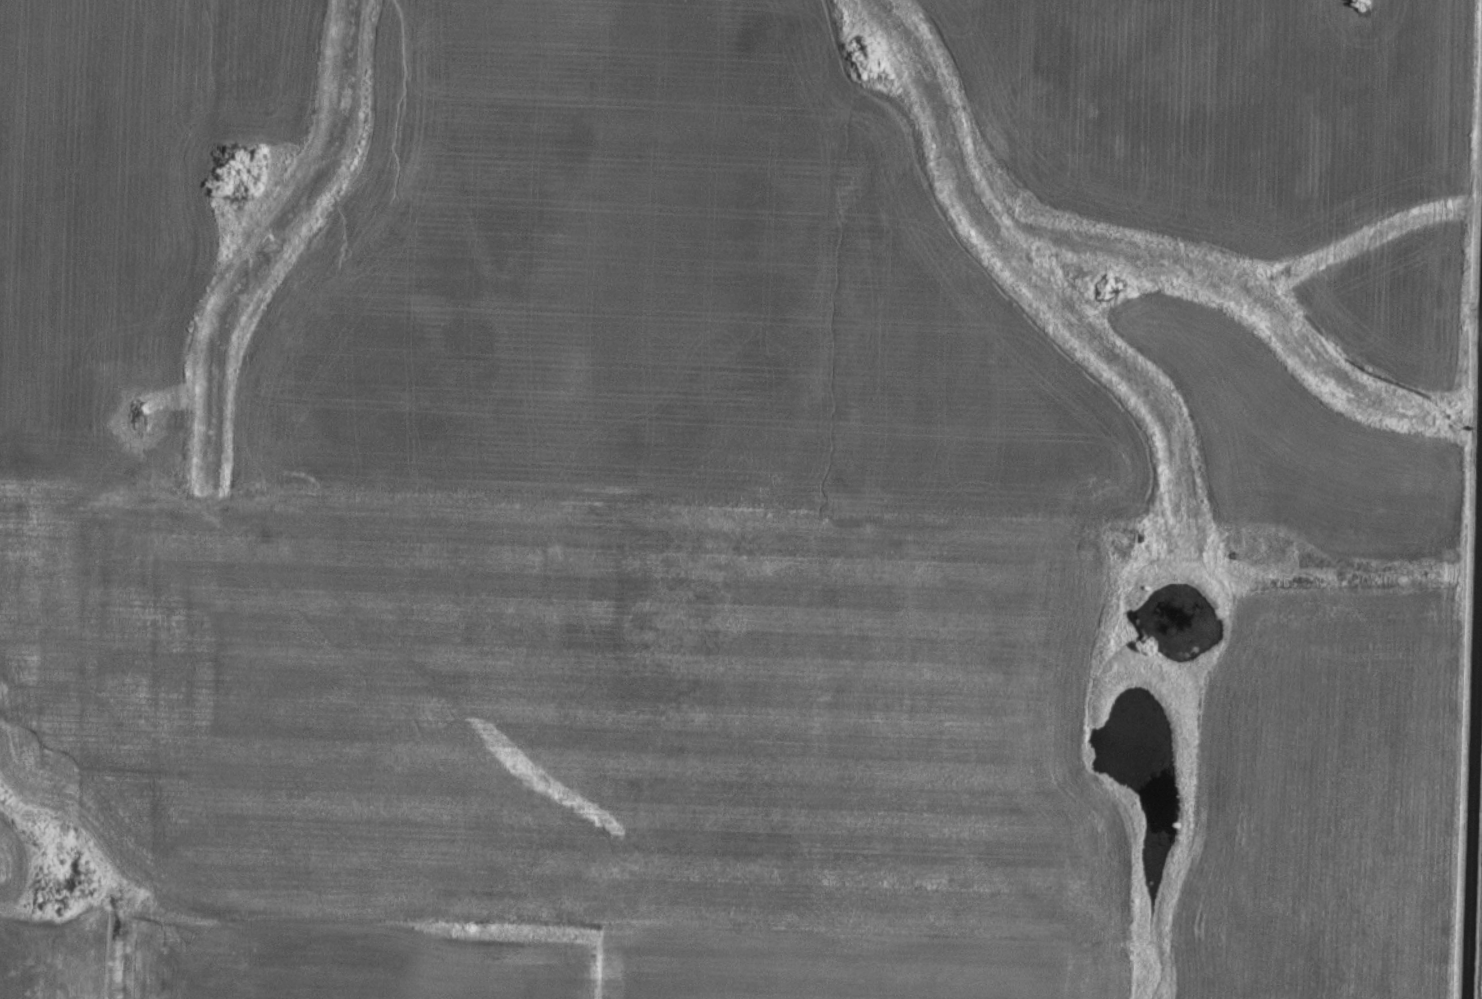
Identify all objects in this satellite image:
road: (1473, 754)

